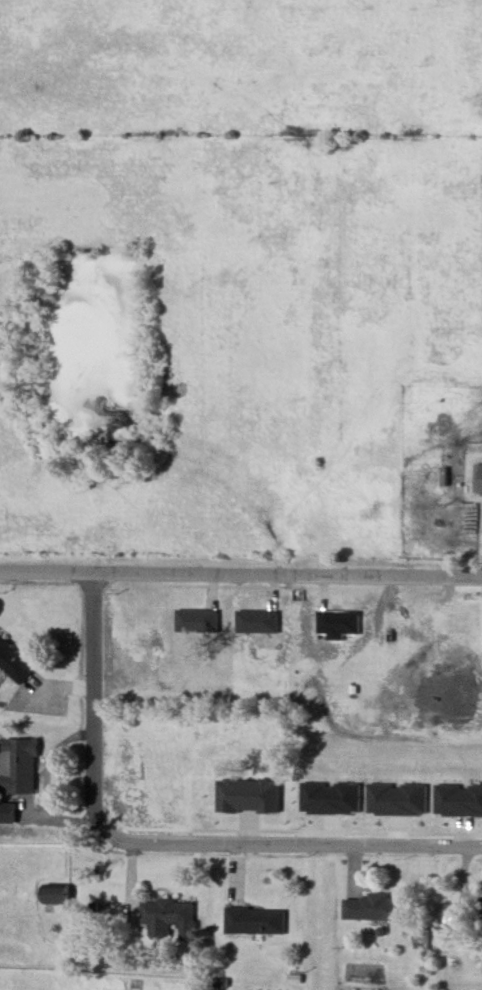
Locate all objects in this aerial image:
building: (478, 478)
road: (45, 571)
road: (286, 574)
building: (255, 618)
building: (196, 619)
building: (14, 664)
road: (90, 701)
building: (17, 767)
building: (247, 793)
building: (331, 796)
building: (398, 796)
building: (458, 798)
road: (289, 847)
building: (56, 894)
building: (370, 909)
building: (446, 916)
building: (167, 919)
building: (254, 922)
building: (421, 938)

